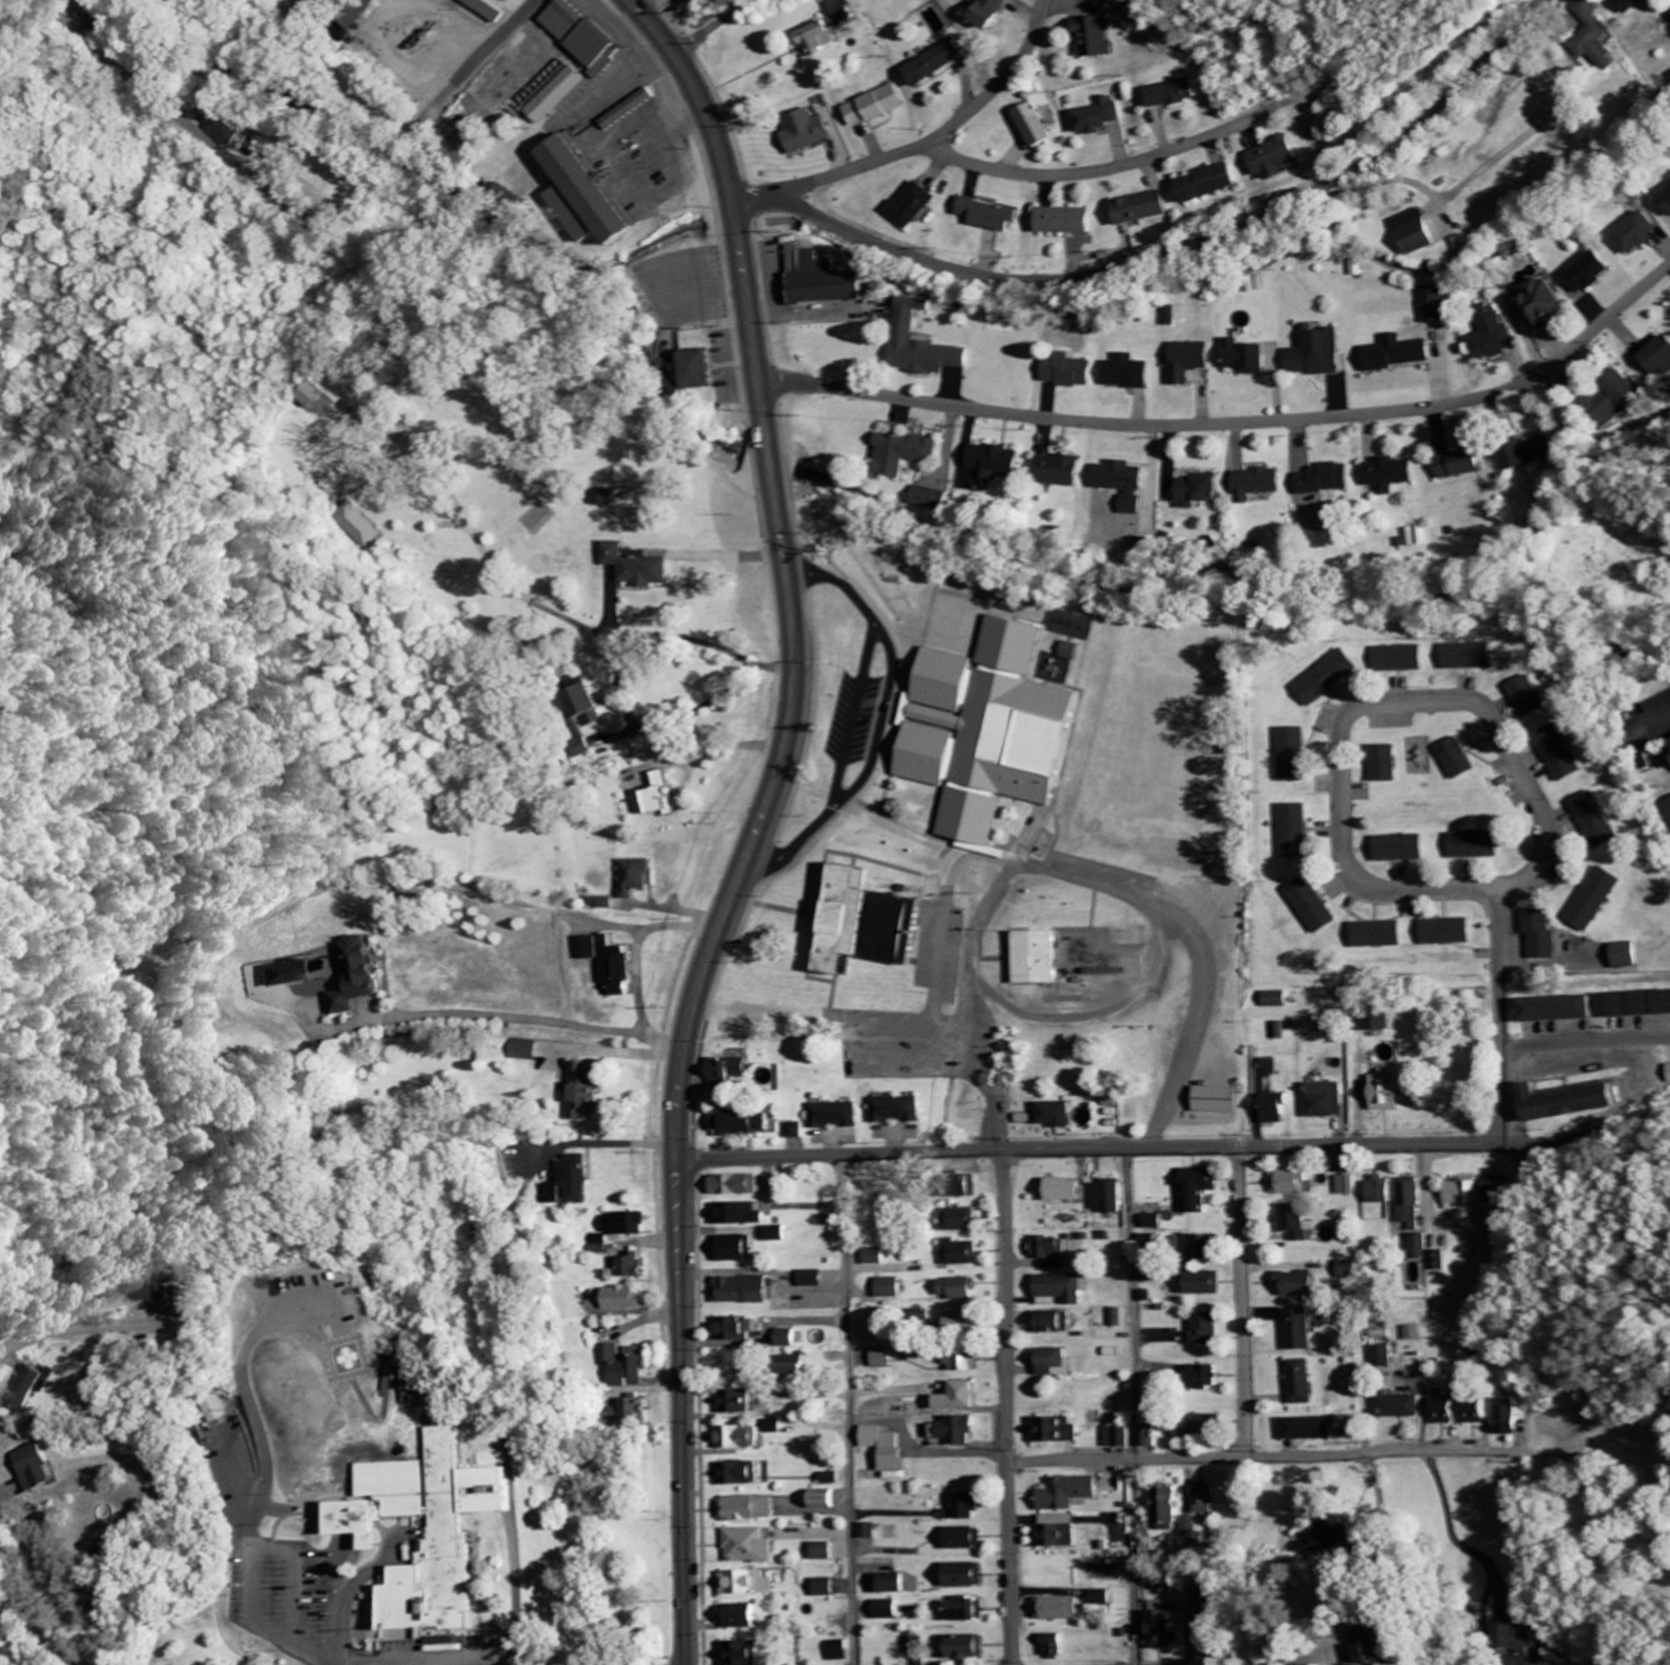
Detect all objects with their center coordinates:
building: (516, 0)
building: (1625, 6)
building: (488, 9)
building: (996, 12)
building: (360, 14)
building: (91, 23)
road: (657, 25)
road: (719, 25)
building: (583, 34)
road: (1059, 38)
building: (1101, 38)
building: (822, 39)
building: (1593, 45)
building: (940, 63)
road: (997, 88)
building: (1176, 94)
building: (561, 95)
building: (638, 106)
building: (879, 106)
building: (1100, 116)
building: (1038, 126)
building: (226, 128)
building: (812, 131)
building: (1281, 158)
road: (998, 171)
building: (1215, 182)
building: (592, 192)
building: (1664, 202)
building: (918, 204)
building: (1145, 208)
road: (299, 209)
building: (993, 215)
building: (1070, 221)
building: (1418, 233)
building: (1634, 234)
road: (1194, 250)
building: (1589, 271)
road: (1659, 277)
building: (831, 283)
building: (1437, 305)
building: (1547, 306)
building: (1497, 338)
building: (927, 345)
building: (1320, 352)
building: (1402, 354)
building: (1250, 358)
building: (1661, 358)
building: (1193, 361)
building: (705, 370)
building: (1072, 371)
building: (1132, 373)
building: (316, 397)
building: (1617, 400)
road: (1230, 423)
building: (909, 453)
building: (1534, 454)
building: (1001, 462)
building: (1463, 465)
building: (1065, 471)
building: (1392, 475)
building: (1330, 480)
building: (1129, 484)
building: (1261, 484)
building: (1205, 492)
road: (1492, 492)
building: (936, 500)
building: (1150, 546)
building: (641, 568)
road: (849, 588)
road: (404, 617)
road: (222, 635)
building: (1075, 652)
building: (1472, 656)
building: (1404, 660)
building: (1331, 677)
building: (1532, 698)
building: (593, 704)
road: (1391, 704)
road: (841, 714)
building: (993, 731)
building: (1563, 755)
building: (1297, 756)
building: (1462, 760)
building: (1388, 765)
building: (665, 797)
building: (1599, 821)
building: (1298, 832)
road: (901, 833)
building: (1480, 846)
building: (1404, 849)
road: (748, 851)
road: (937, 868)
building: (637, 877)
building: (1597, 899)
building: (604, 904)
building: (1314, 906)
building: (878, 925)
building: (1450, 932)
building: (1382, 935)
building: (1544, 936)
building: (589, 948)
building: (1629, 956)
building: (1039, 959)
building: (619, 968)
building: (282, 974)
building: (370, 977)
building: (1279, 1000)
building: (1641, 1005)
building: (1563, 1010)
road: (512, 1022)
road: (895, 1023)
building: (1383, 1023)
road: (1501, 1035)
road: (1585, 1042)
building: (528, 1051)
building: (733, 1072)
building: (588, 1093)
building: (1394, 1094)
building: (1219, 1102)
building: (1329, 1102)
building: (1575, 1103)
building: (1279, 1109)
building: (897, 1111)
building: (1058, 1115)
building: (836, 1117)
building: (746, 1124)
road: (1650, 1124)
building: (797, 1131)
road: (1571, 1146)
road: (1090, 1152)
building: (577, 1181)
building: (774, 1183)
building: (1296, 1184)
building: (1347, 1185)
building: (738, 1187)
building: (1202, 1190)
building: (1066, 1191)
building: (1499, 1191)
building: (1382, 1192)
building: (1467, 1195)
building: (1110, 1198)
building: (1413, 1203)
building: (743, 1215)
building: (962, 1221)
building: (1156, 1223)
building: (1297, 1223)
building: (628, 1225)
building: (781, 1235)
building: (1153, 1242)
building: (1207, 1247)
building: (1423, 1247)
building: (737, 1250)
building: (1050, 1252)
building: (960, 1254)
building: (877, 1257)
building: (1441, 1262)
building: (631, 1267)
building: (1351, 1271)
building: (816, 1279)
building: (1202, 1284)
building: (1302, 1285)
building: (890, 1289)
building: (958, 1289)
building: (1060, 1290)
building: (748, 1292)
building: (159, 1294)
building: (624, 1299)
road: (1241, 1304)
building: (1117, 1319)
building: (966, 1321)
building: (1055, 1324)
building: (739, 1330)
building: (1208, 1330)
building: (1302, 1331)
road: (49, 1332)
building: (1418, 1335)
building: (792, 1339)
building: (1386, 1358)
building: (885, 1359)
building: (1055, 1363)
building: (965, 1364)
building: (800, 1366)
building: (624, 1369)
road: (1133, 1377)
building: (1207, 1378)
building: (1302, 1383)
building: (33, 1389)
building: (963, 1399)
building: (737, 1403)
building: (1406, 1408)
road: (1006, 1409)
road: (849, 1410)
building: (640, 1412)
building: (1448, 1412)
building: (1478, 1413)
building: (1509, 1419)
building: (775, 1427)
building: (1197, 1427)
building: (1311, 1430)
building: (960, 1432)
building: (1059, 1432)
building: (1120, 1439)
building: (1151, 1439)
building: (742, 1440)
building: (888, 1450)
road: (1262, 1458)
building: (43, 1467)
building: (743, 1475)
building: (1071, 1494)
building: (1207, 1498)
building: (827, 1500)
building: (1169, 1506)
building: (968, 1508)
building: (752, 1509)
building: (1193, 1528)
building: (431, 1530)
building: (870, 1532)
building: (1059, 1532)
building: (966, 1539)
building: (1331, 1539)
building: (753, 1548)
road: (264, 1551)
building: (827, 1552)
building: (1150, 1555)
building: (966, 1577)
building: (753, 1584)
building: (899, 1584)
building: (829, 1589)
road: (346, 1598)
building: (1104, 1599)
road: (25, 1601)
building: (1063, 1610)
building: (890, 1611)
building: (973, 1613)
building: (743, 1617)
building: (1169, 1631)
road: (1138, 1634)
building: (1519, 1637)
building: (917, 1647)
building: (1056, 1647)
building: (1382, 1647)
building: (965, 1648)
building: (843, 1652)
building: (746, 1654)
road: (318, 1658)
road: (447, 1662)

